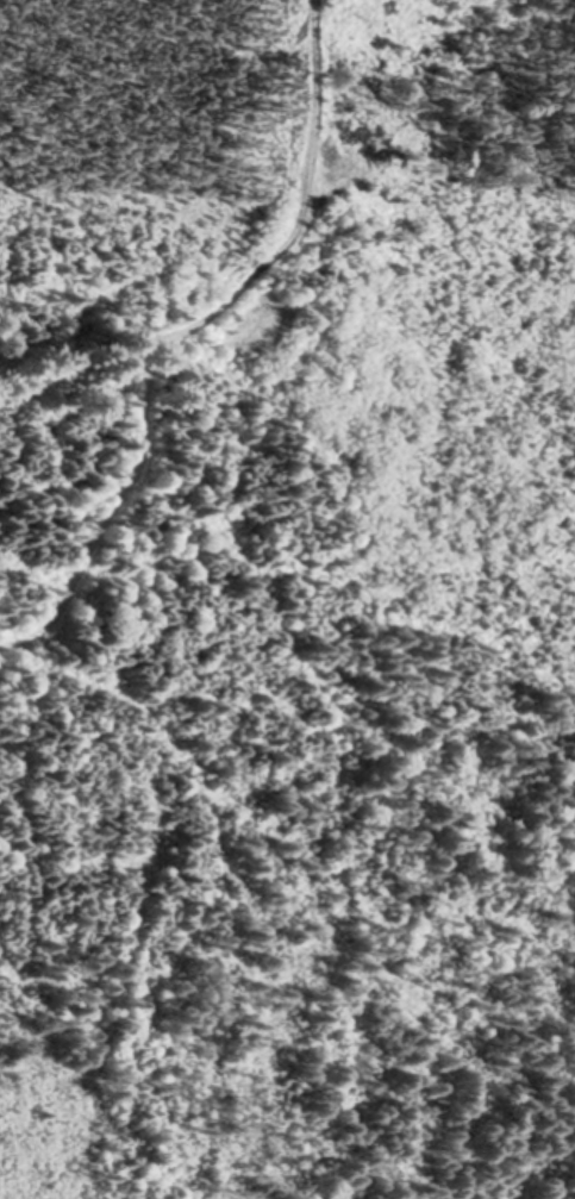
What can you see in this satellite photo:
road: (211, 249)

